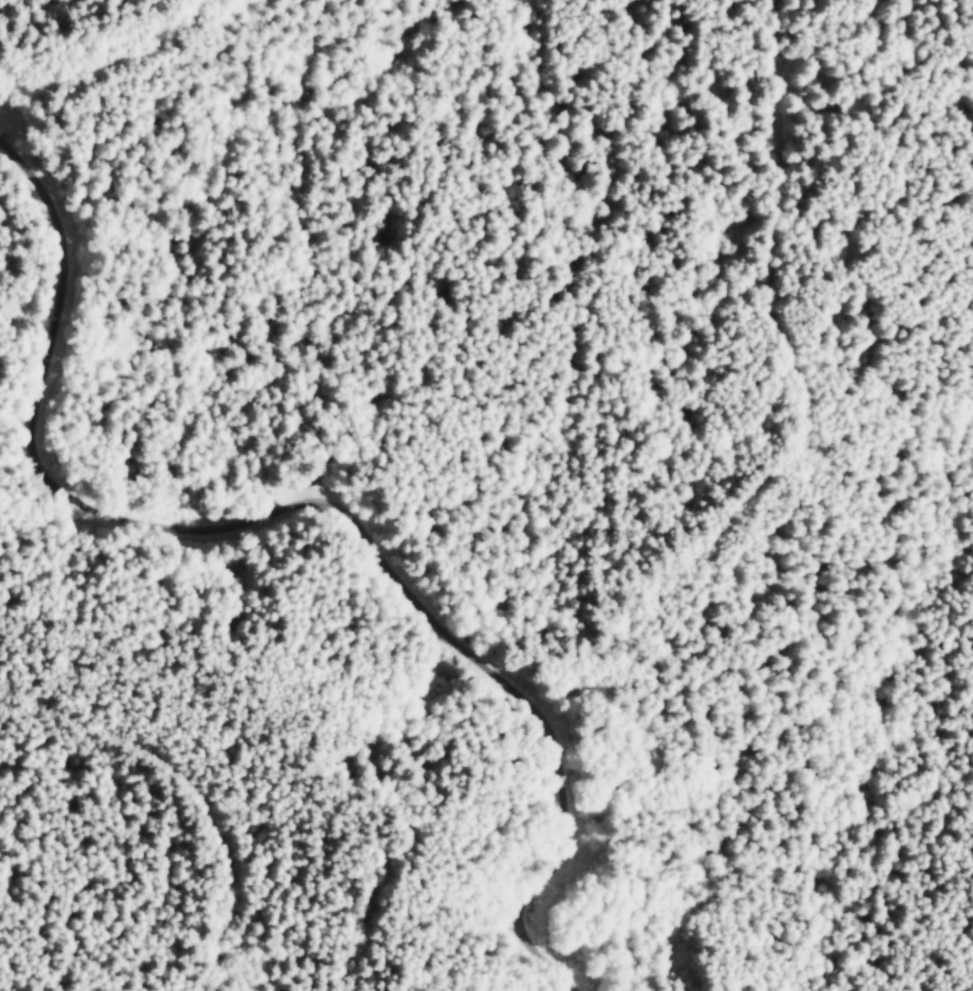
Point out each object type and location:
road: (22, 460)
road: (324, 502)
road: (196, 784)

